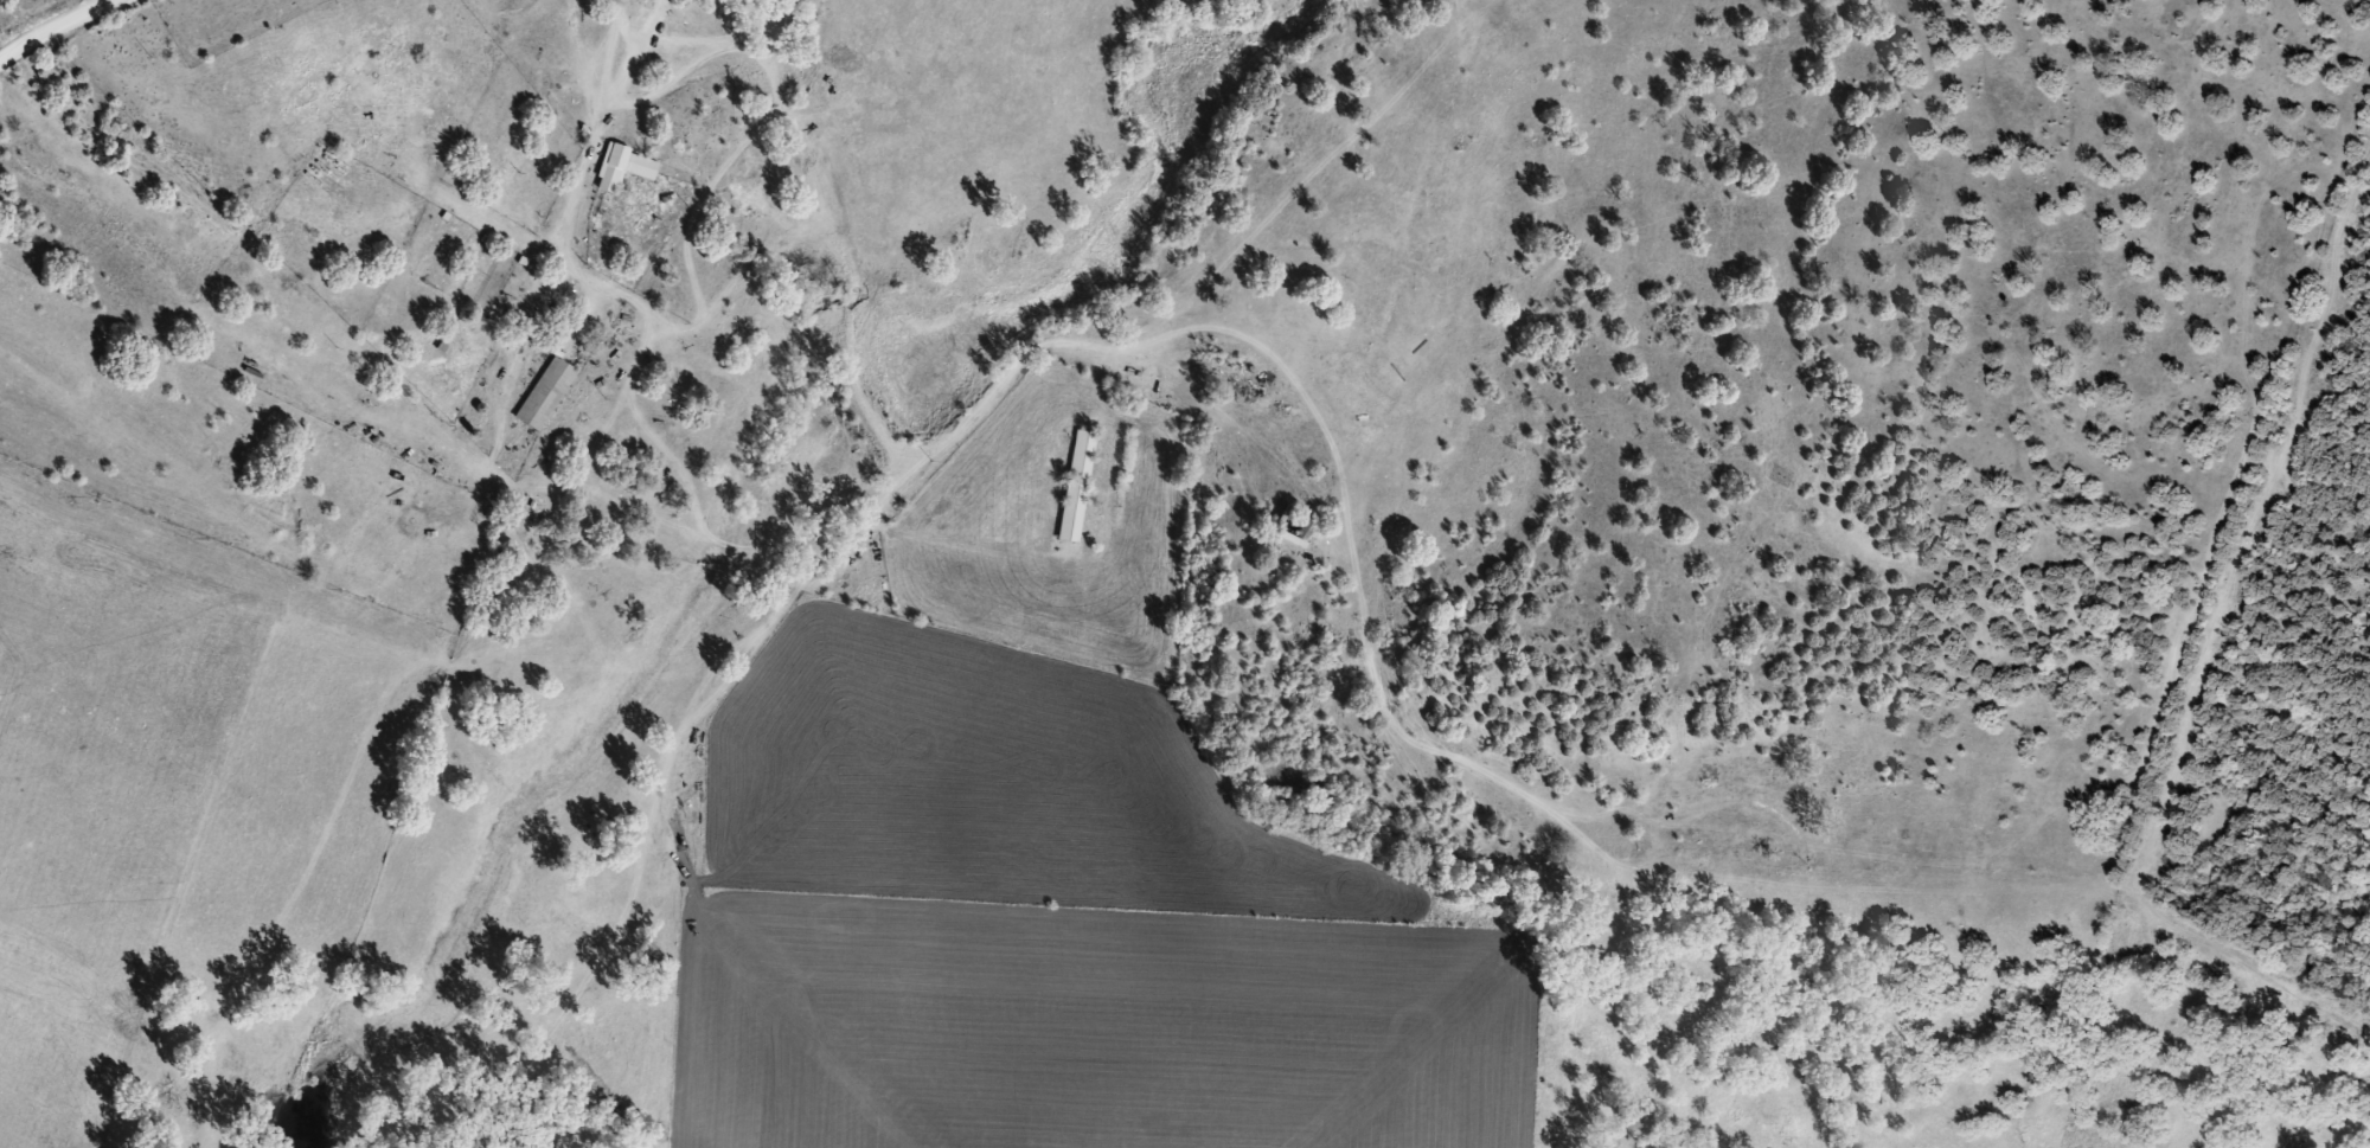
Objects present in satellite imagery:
road: (60, 27)
building: (616, 166)
building: (549, 390)
building: (616, 419)
building: (1074, 489)
building: (1302, 531)

